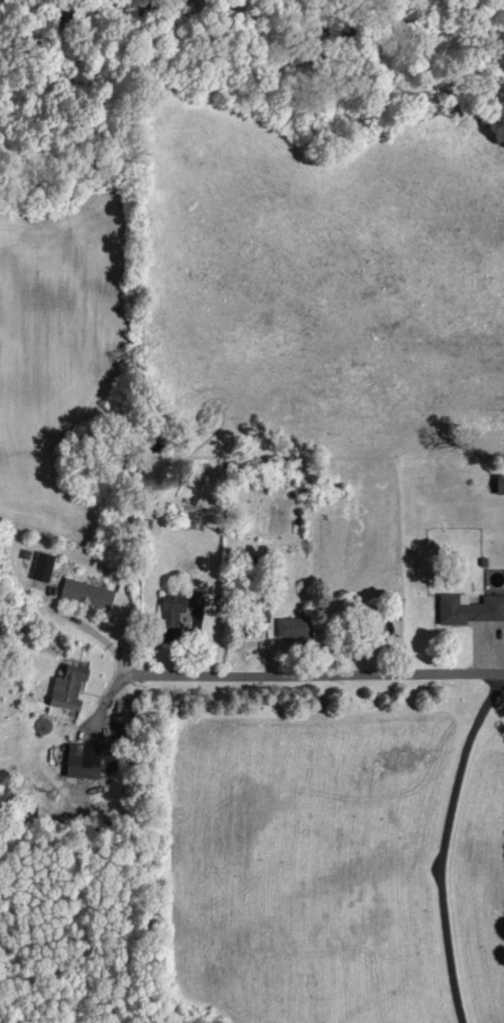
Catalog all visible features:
building: (500, 485)
building: (43, 567)
building: (87, 593)
building: (196, 599)
building: (471, 610)
building: (172, 617)
building: (294, 629)
road: (266, 671)
building: (70, 686)
building: (88, 762)
road: (450, 852)

